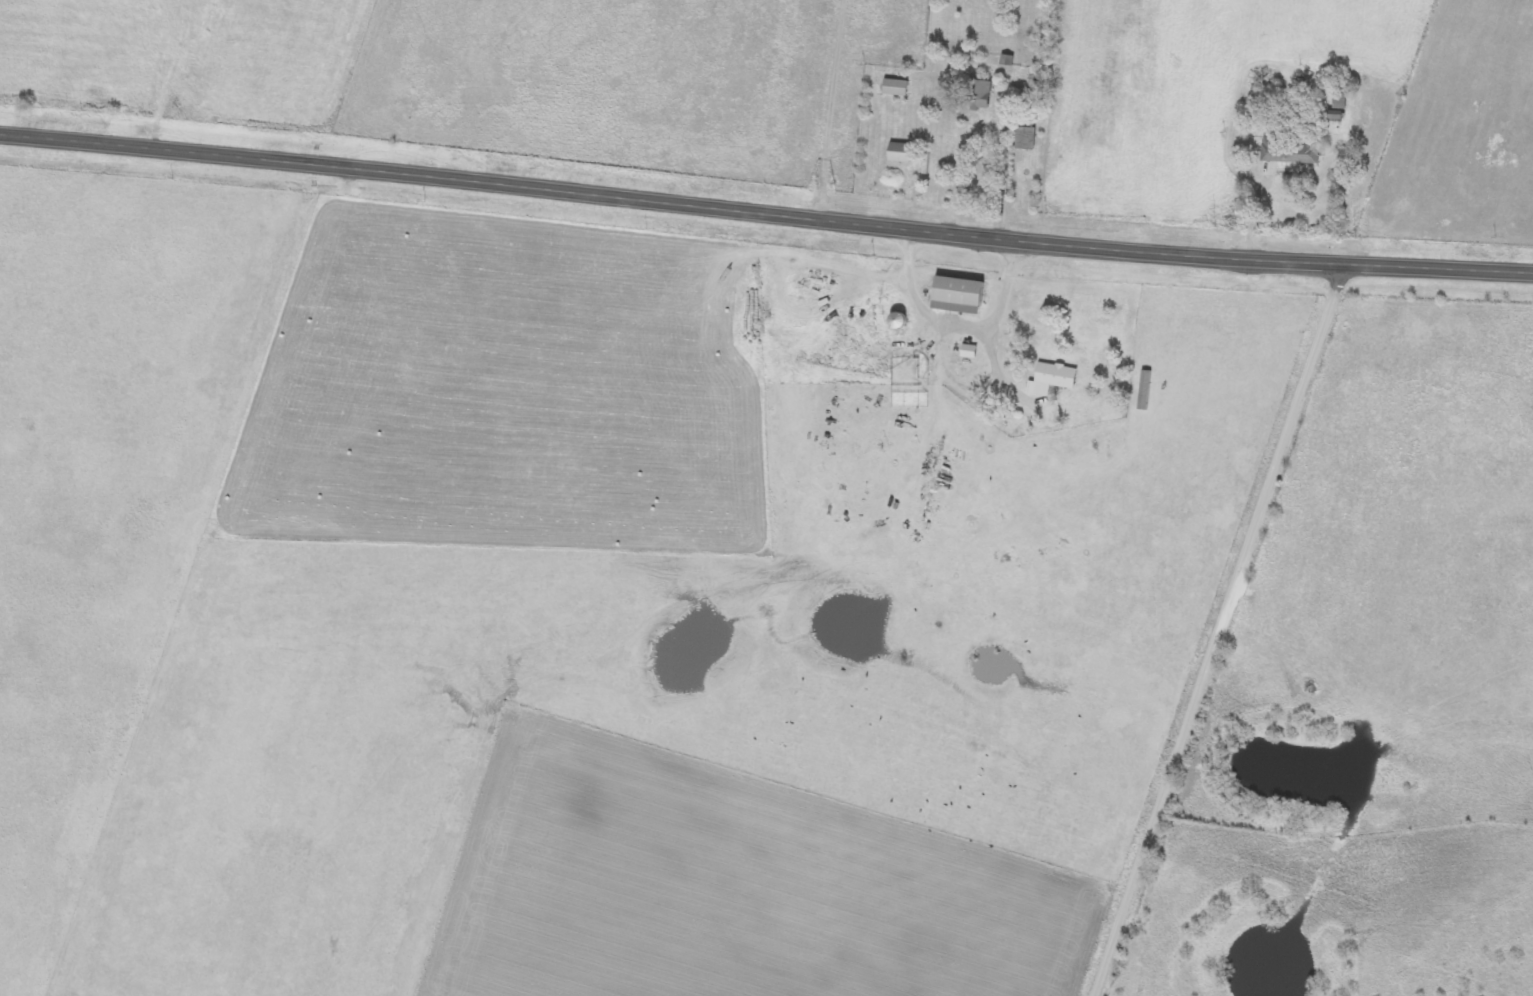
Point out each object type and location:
building: (895, 88)
building: (978, 96)
building: (1025, 139)
building: (1273, 150)
building: (899, 154)
road: (765, 214)
building: (956, 296)
building: (968, 352)
building: (1051, 380)
road: (1220, 631)

